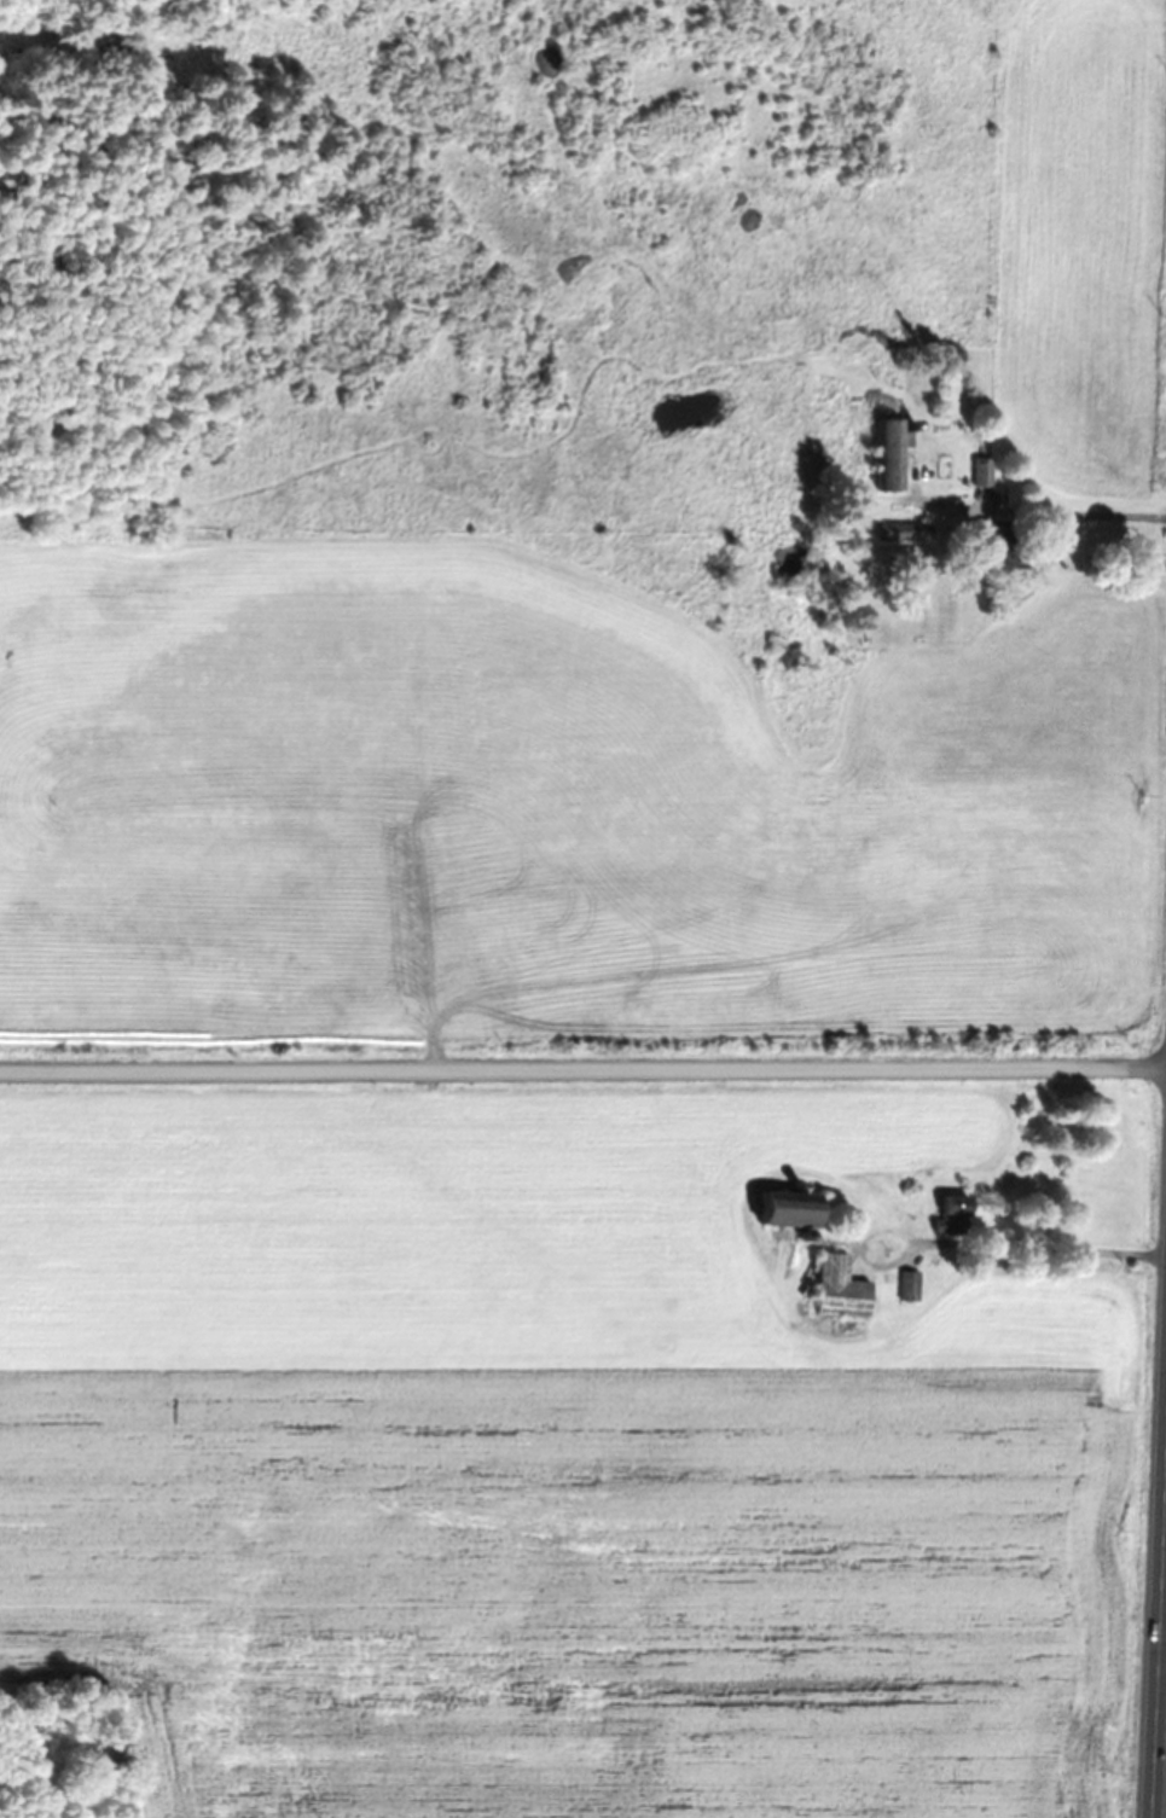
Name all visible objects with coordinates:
building: (889, 453)
building: (981, 471)
building: (903, 532)
building: (998, 536)
road: (582, 1061)
building: (793, 1210)
building: (953, 1214)
building: (906, 1285)
building: (839, 1288)
road: (1159, 1651)

